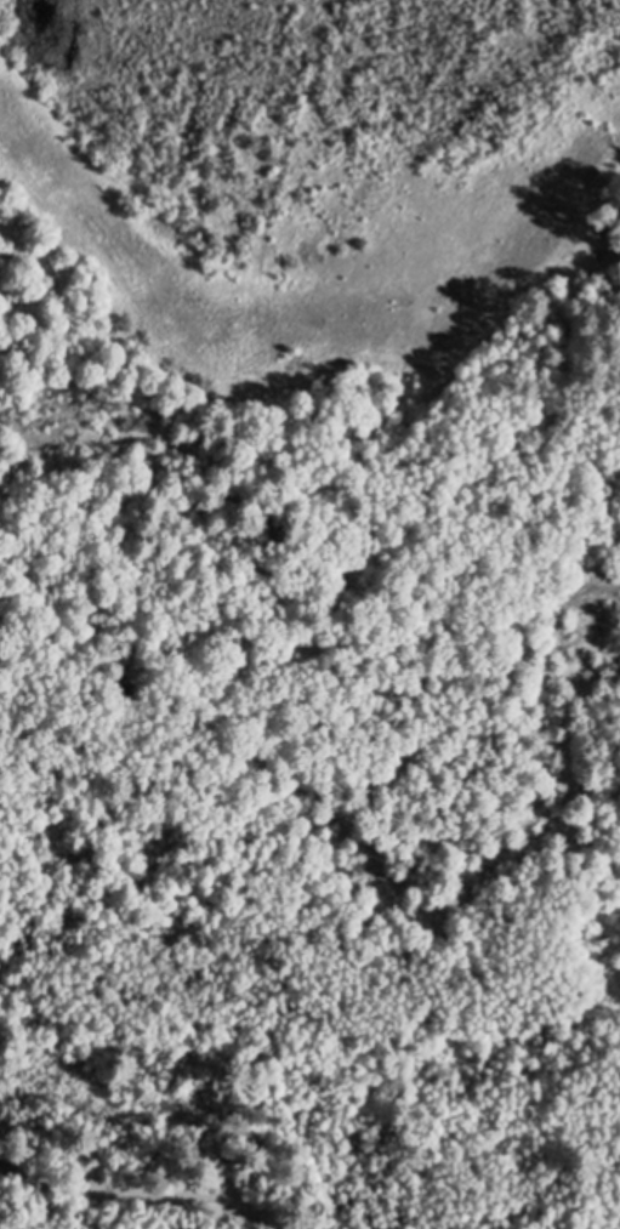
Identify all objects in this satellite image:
road: (56, 216)
road: (148, 1194)

